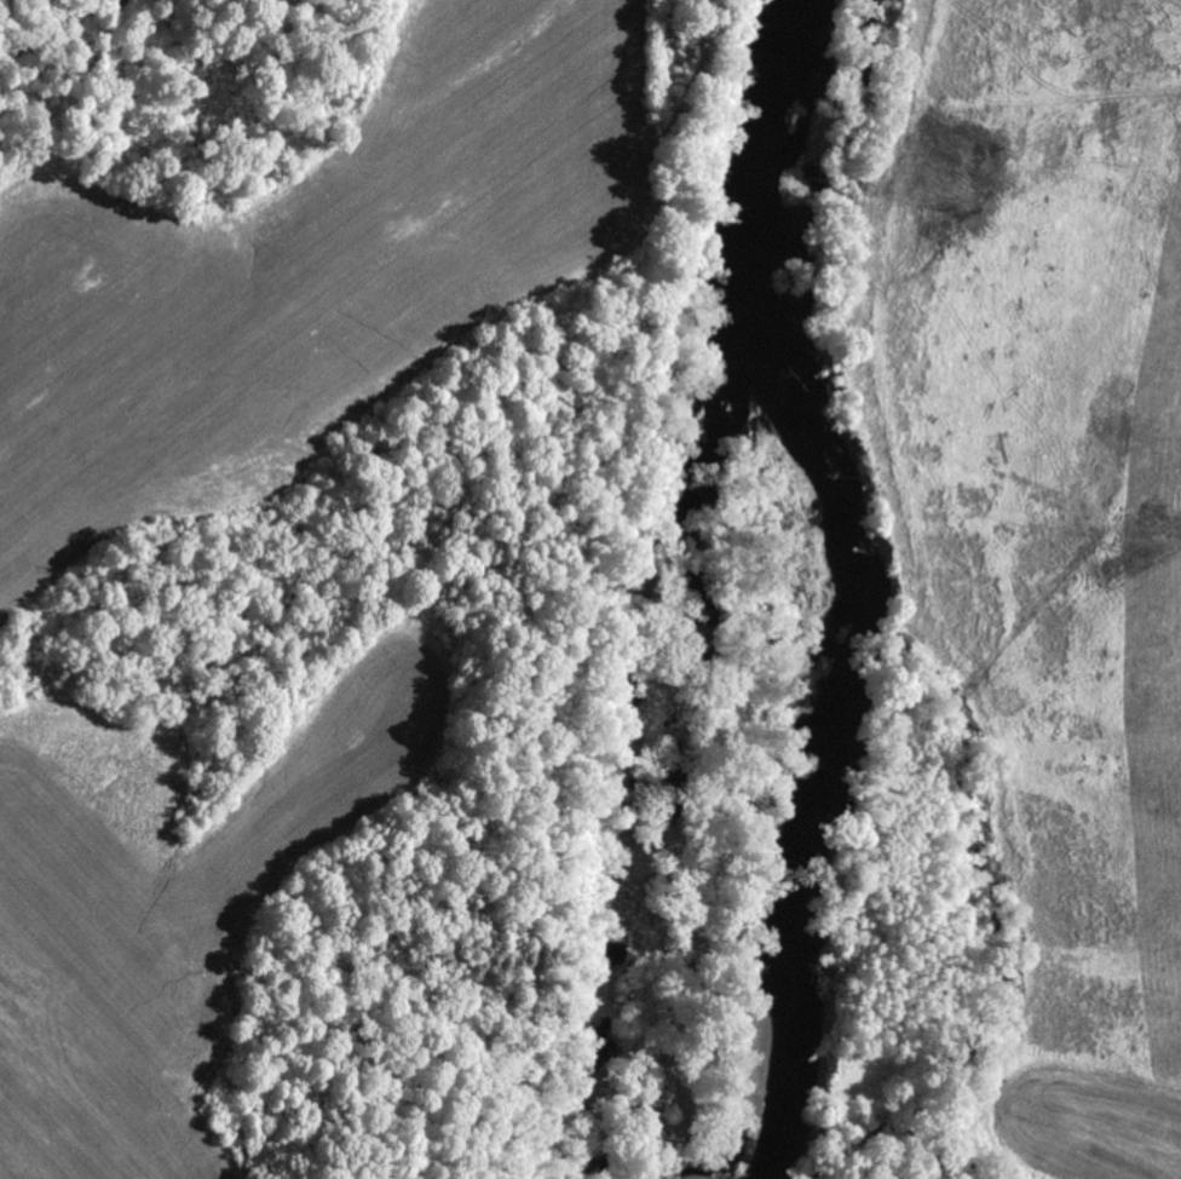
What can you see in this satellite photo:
river: (813, 588)

